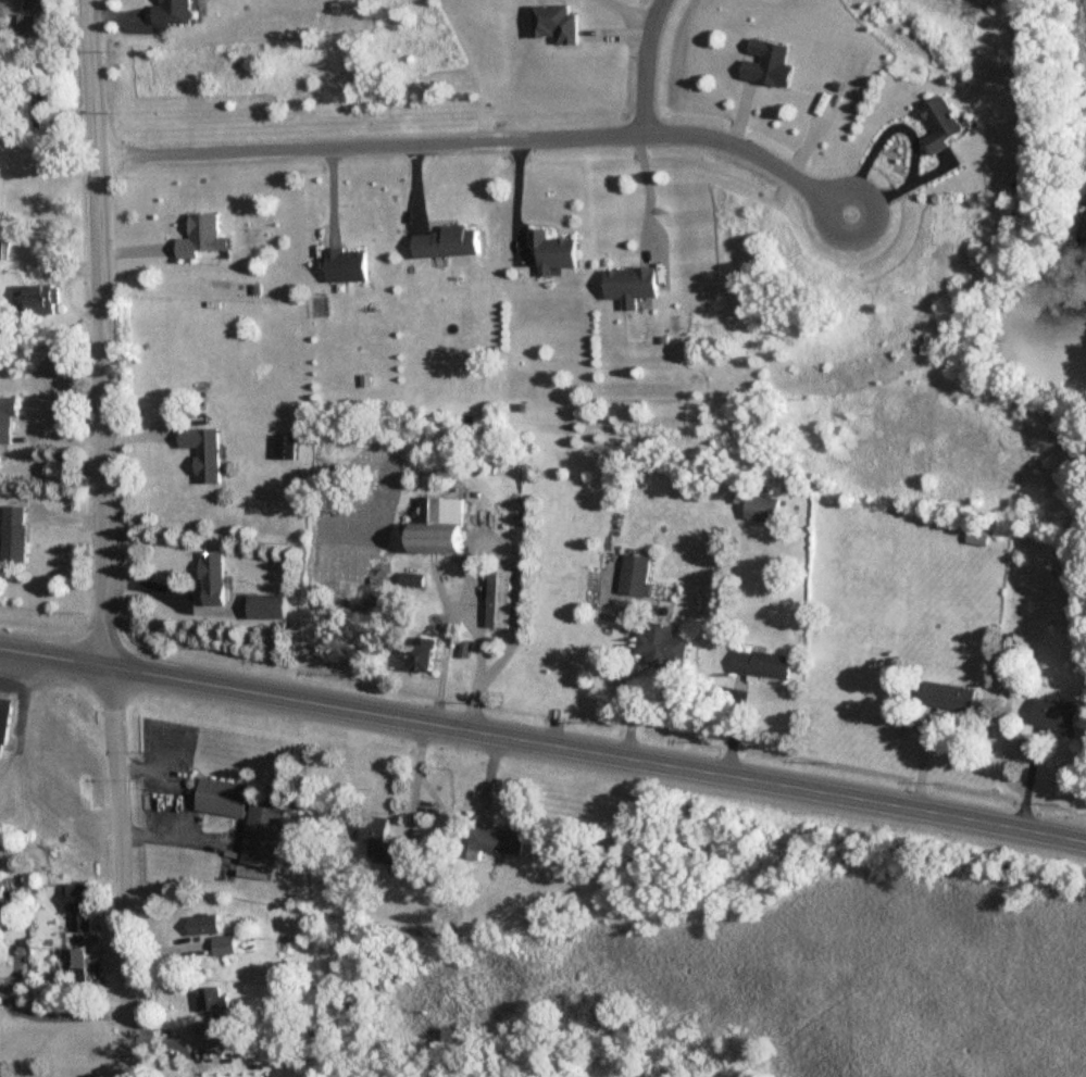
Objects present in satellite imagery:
building: (37, 4)
building: (178, 12)
road: (627, 12)
building: (28, 23)
building: (558, 24)
building: (769, 62)
road: (646, 64)
building: (33, 90)
building: (946, 124)
road: (883, 135)
road: (482, 140)
road: (903, 185)
road: (648, 192)
building: (204, 238)
building: (451, 243)
building: (558, 252)
building: (349, 265)
building: (634, 287)
building: (43, 300)
road: (97, 301)
building: (8, 419)
building: (287, 447)
building: (205, 452)
building: (764, 510)
building: (444, 527)
building: (15, 535)
building: (979, 540)
road: (484, 552)
building: (638, 575)
building: (215, 579)
building: (413, 581)
building: (374, 605)
building: (272, 608)
building: (498, 617)
road: (108, 634)
building: (663, 646)
building: (429, 656)
building: (765, 665)
road: (111, 686)
building: (951, 698)
building: (1058, 716)
building: (4, 727)
road: (542, 739)
parking lot: (165, 753)
road: (162, 798)
building: (226, 798)
parking lot: (167, 818)
building: (265, 835)
road: (205, 839)
building: (383, 841)
building: (500, 841)
parking lot: (232, 847)
road: (229, 857)
road: (122, 892)
building: (2, 893)
building: (78, 909)
building: (208, 926)
building: (227, 947)
building: (77, 967)
building: (215, 1000)
road: (38, 1019)

